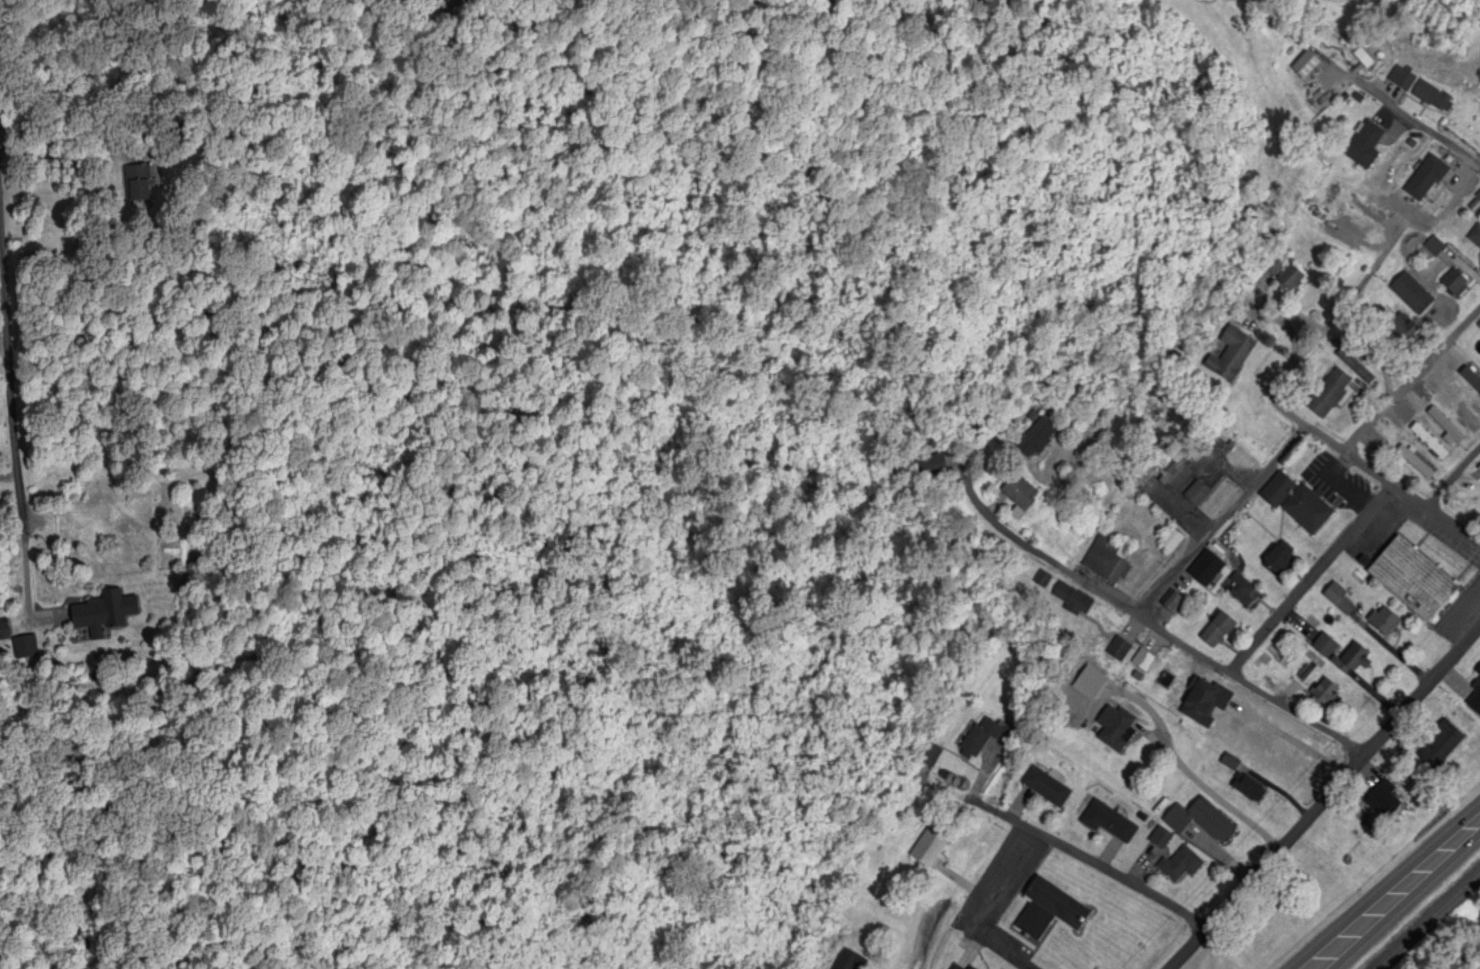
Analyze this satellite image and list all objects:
building: (1363, 59)
building: (1305, 67)
building: (1402, 79)
building: (1433, 98)
road: (1403, 109)
building: (1364, 145)
building: (1425, 179)
building: (138, 184)
building: (1478, 198)
building: (1333, 208)
building: (1475, 237)
building: (1434, 247)
building: (1284, 274)
building: (1455, 284)
building: (1411, 294)
building: (1376, 306)
building: (1479, 328)
building: (1401, 330)
building: (1230, 355)
road: (1413, 377)
building: (1479, 381)
building: (1325, 399)
road: (1278, 402)
building: (1459, 411)
road: (16, 413)
building: (1445, 426)
building: (1033, 438)
building: (1429, 442)
building: (1415, 462)
road: (1469, 464)
building: (931, 466)
building: (1479, 469)
building: (1176, 475)
building: (1017, 491)
building: (1196, 494)
building: (1296, 504)
road: (1220, 516)
building: (1170, 541)
building: (1278, 558)
building: (1105, 562)
road: (1082, 578)
road: (1314, 579)
building: (1043, 580)
building: (1412, 580)
building: (1241, 590)
building: (1073, 600)
building: (1339, 601)
building: (1173, 605)
building: (100, 613)
building: (1384, 622)
building: (1217, 631)
building: (1118, 650)
building: (1354, 656)
building: (1095, 682)
building: (1263, 682)
building: (1477, 687)
building: (1324, 692)
building: (1475, 704)
building: (1116, 730)
building: (979, 738)
building: (1440, 745)
building: (928, 755)
building: (1046, 788)
building: (1249, 789)
road: (1325, 800)
building: (1200, 820)
building: (1108, 822)
building: (1160, 838)
building: (928, 848)
road: (1085, 860)
building: (1181, 865)
road: (1397, 895)
road: (971, 896)
building: (1048, 910)
railway: (1431, 924)
building: (846, 960)
building: (956, 967)
building: (968, 968)

